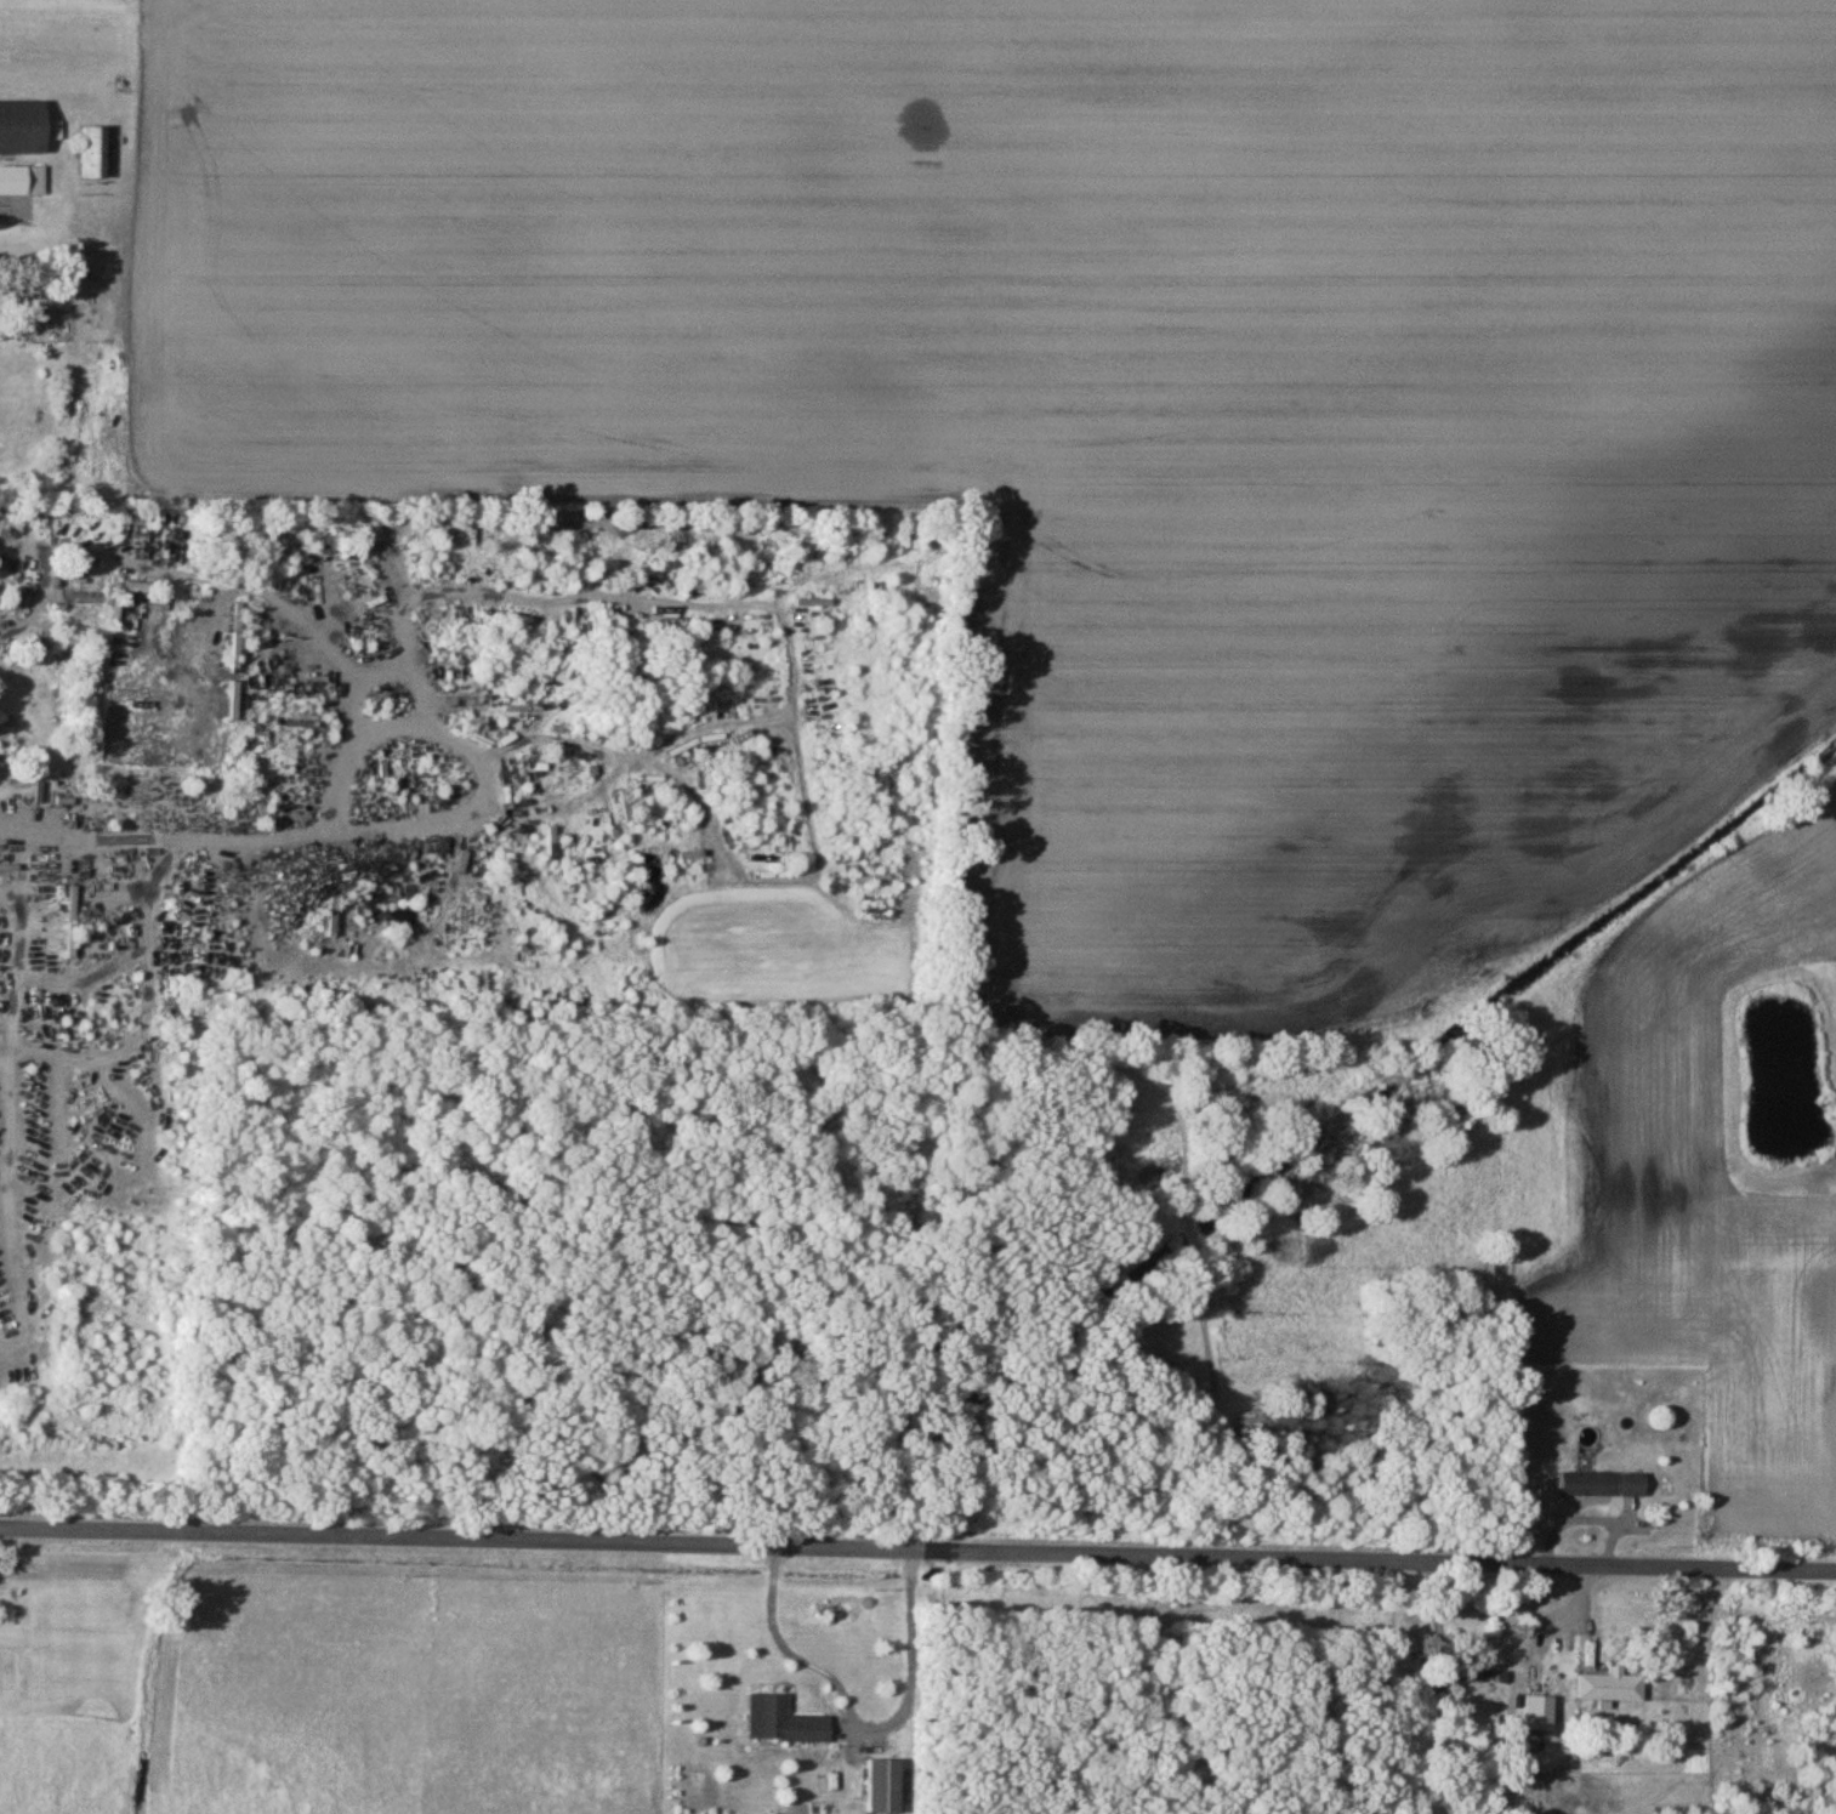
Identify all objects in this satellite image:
road: (34, 840)
road: (917, 1556)
road: (860, 1724)

